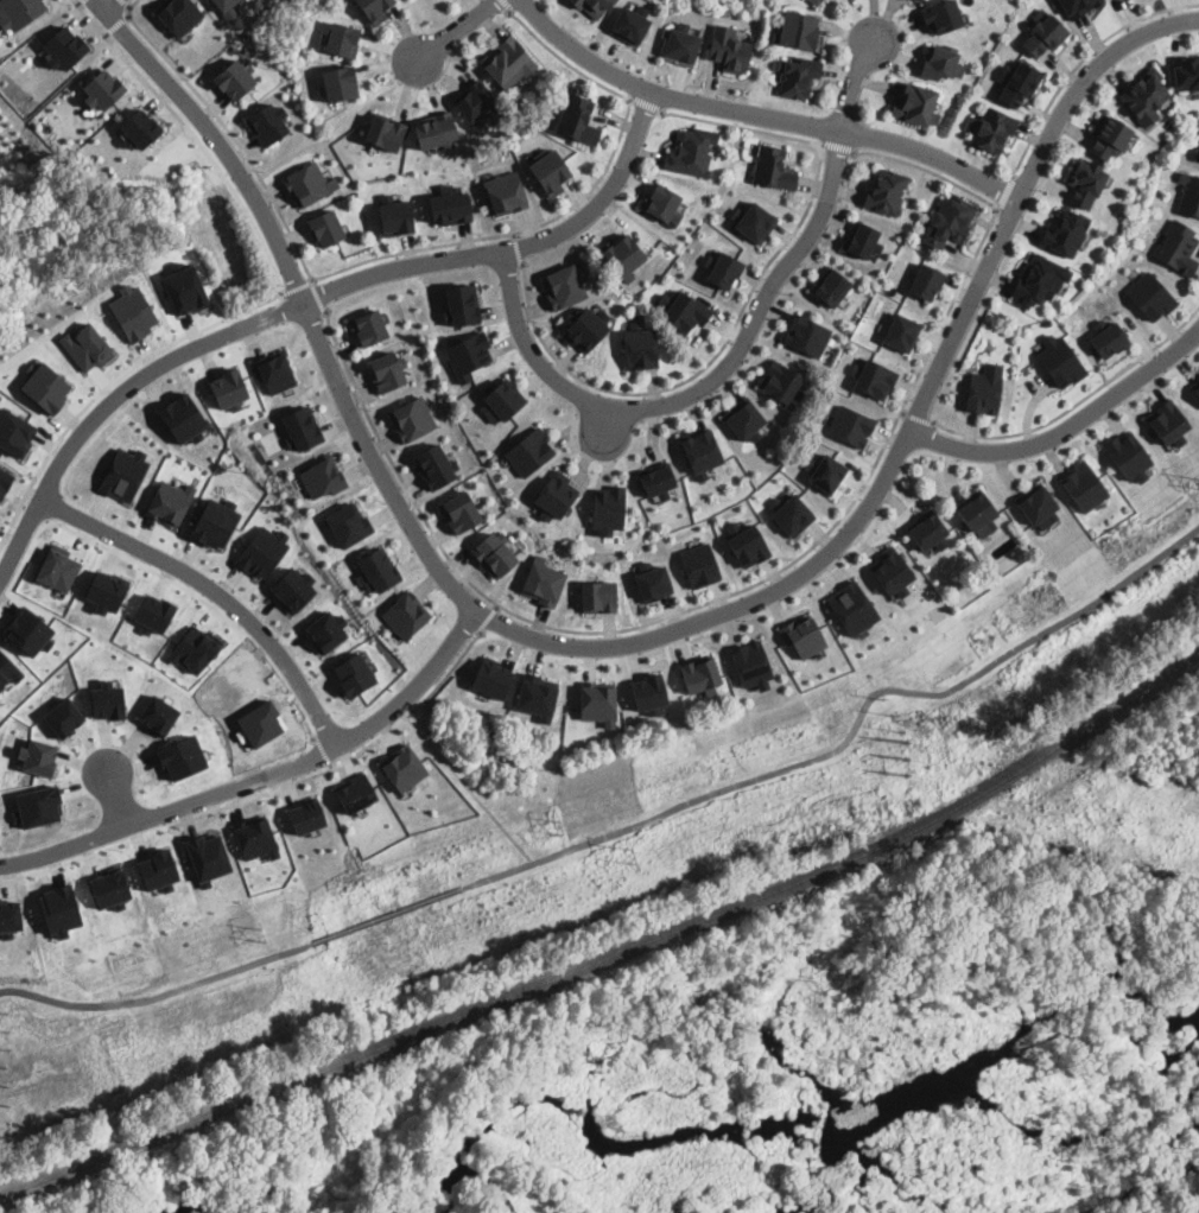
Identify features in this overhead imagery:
building: (920, 0)
building: (817, 1)
road: (80, 2)
road: (109, 4)
road: (126, 4)
building: (224, 4)
road: (506, 6)
building: (592, 6)
building: (1078, 6)
building: (373, 8)
building: (18, 12)
building: (179, 14)
building: (941, 15)
building: (629, 23)
road: (118, 26)
road: (453, 31)
building: (799, 31)
building: (1045, 32)
building: (342, 38)
building: (680, 44)
building: (63, 46)
building: (729, 47)
building: (509, 61)
building: (941, 61)
road: (1081, 62)
road: (128, 63)
building: (1187, 70)
building: (798, 75)
building: (233, 80)
building: (1017, 82)
building: (340, 83)
road: (856, 83)
building: (102, 88)
building: (1146, 95)
building: (915, 103)
road: (647, 104)
building: (477, 106)
road: (761, 115)
building: (577, 116)
building: (267, 123)
building: (140, 126)
building: (991, 128)
road: (228, 131)
building: (385, 131)
building: (436, 131)
building: (1109, 136)
road: (838, 147)
building: (692, 151)
building: (1197, 153)
building: (773, 166)
building: (548, 170)
building: (1086, 180)
building: (309, 184)
building: (507, 191)
building: (887, 191)
building: (1190, 192)
road: (1003, 193)
building: (661, 202)
building: (450, 204)
road: (575, 204)
building: (395, 215)
building: (753, 220)
building: (949, 221)
building: (326, 228)
building: (1065, 230)
road: (514, 235)
building: (862, 239)
building: (1178, 246)
road: (518, 250)
building: (624, 255)
building: (722, 268)
building: (1039, 279)
building: (927, 280)
building: (564, 286)
building: (831, 286)
building: (184, 288)
road: (297, 288)
road: (310, 296)
road: (318, 296)
building: (1150, 296)
road: (271, 299)
road: (744, 303)
building: (459, 304)
building: (131, 310)
building: (684, 310)
building: (368, 326)
building: (585, 328)
building: (902, 332)
building: (806, 335)
building: (1108, 337)
building: (85, 345)
building: (640, 345)
building: (468, 354)
building: (1060, 360)
building: (274, 370)
building: (387, 370)
building: (873, 377)
building: (781, 381)
building: (44, 386)
building: (1195, 386)
road: (700, 387)
building: (227, 388)
building: (984, 388)
building: (501, 400)
road: (1074, 405)
building: (182, 415)
building: (412, 417)
road: (916, 417)
building: (744, 419)
building: (1168, 421)
road: (605, 425)
building: (851, 425)
building: (302, 427)
road: (1065, 427)
building: (14, 431)
building: (529, 450)
building: (700, 450)
building: (1128, 456)
building: (434, 465)
building: (123, 472)
building: (826, 474)
building: (323, 477)
building: (658, 478)
building: (4, 480)
building: (1084, 485)
building: (554, 495)
building: (169, 501)
building: (1038, 504)
building: (608, 508)
building: (461, 510)
building: (977, 510)
building: (791, 513)
building: (214, 522)
building: (348, 522)
building: (927, 529)
building: (746, 544)
building: (261, 552)
building: (495, 552)
building: (699, 564)
building: (57, 566)
building: (376, 570)
building: (892, 571)
building: (543, 580)
building: (652, 580)
road: (753, 585)
building: (292, 588)
building: (106, 590)
road: (216, 591)
building: (597, 596)
building: (851, 606)
road: (497, 608)
building: (153, 612)
building: (406, 614)
road: (487, 620)
building: (325, 629)
building: (802, 635)
road: (635, 642)
building: (192, 648)
building: (751, 663)
building: (6, 669)
building: (353, 673)
building: (700, 674)
building: (491, 677)
building: (648, 692)
building: (537, 694)
building: (107, 700)
building: (597, 701)
power tower: (888, 713)
building: (63, 716)
road: (389, 731)
road: (849, 733)
road: (323, 752)
building: (37, 755)
building: (182, 756)
power tower: (902, 758)
building: (404, 767)
road: (264, 775)
road: (470, 790)
building: (355, 792)
road: (118, 799)
building: (37, 805)
building: (305, 814)
power tower: (558, 824)
building: (254, 837)
power tower: (628, 855)
building: (9, 914)
road: (387, 916)
power tower: (258, 932)
road: (159, 997)
power tower: (4, 1029)
power tower: (4, 1085)

